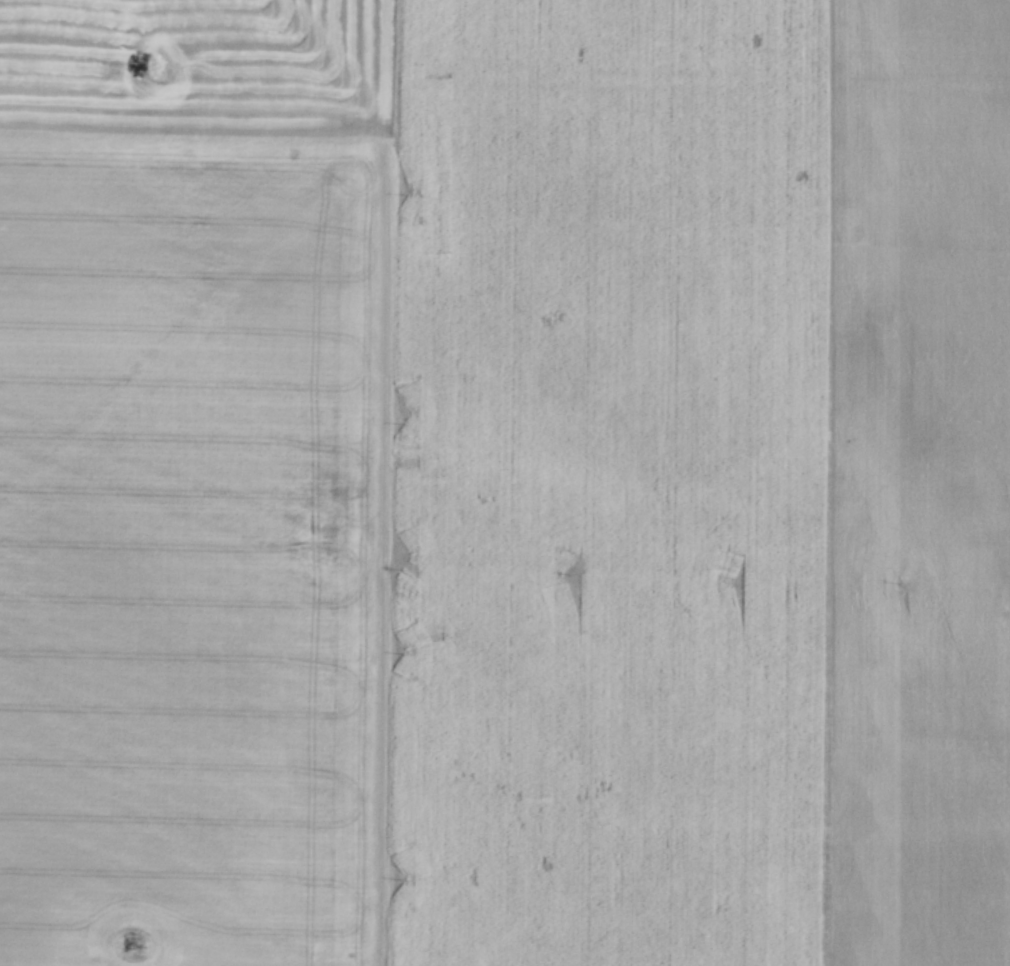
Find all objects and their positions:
crop: (505, 483)

